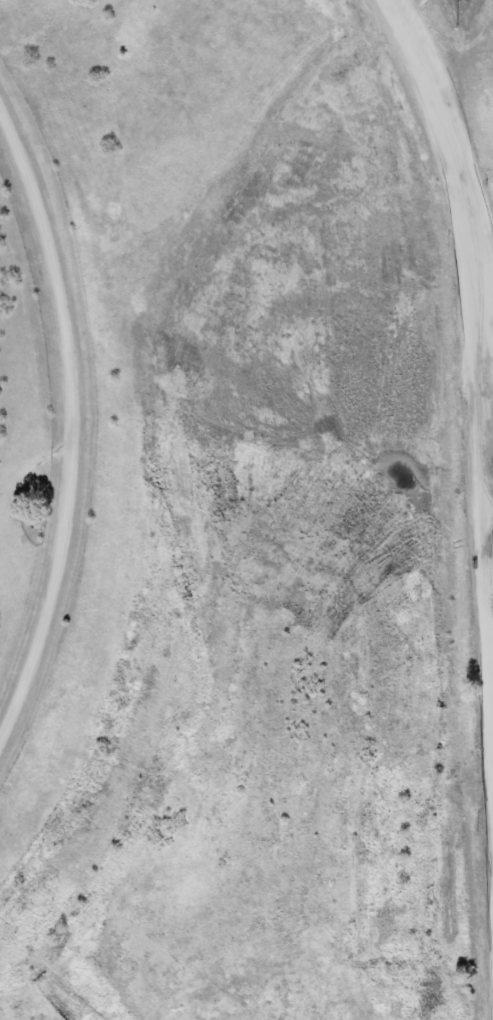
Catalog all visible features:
road: (468, 198)
road: (72, 428)

